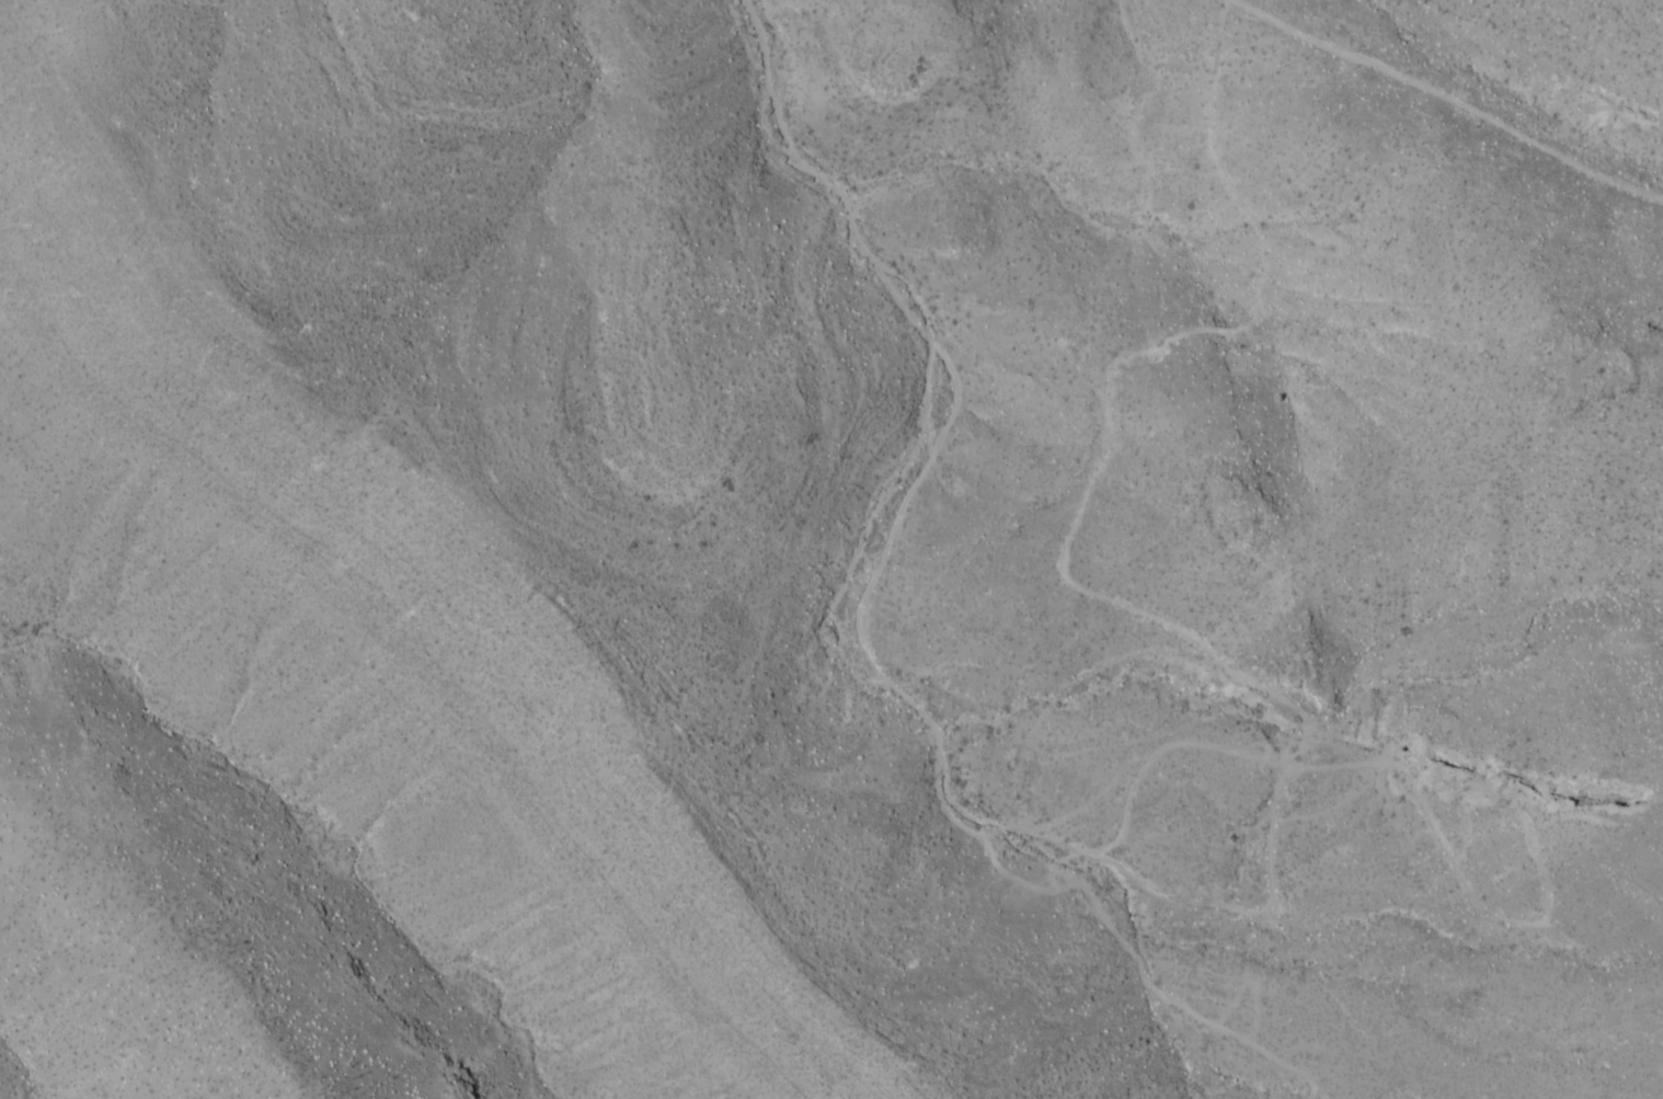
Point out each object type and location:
road: (860, 626)

